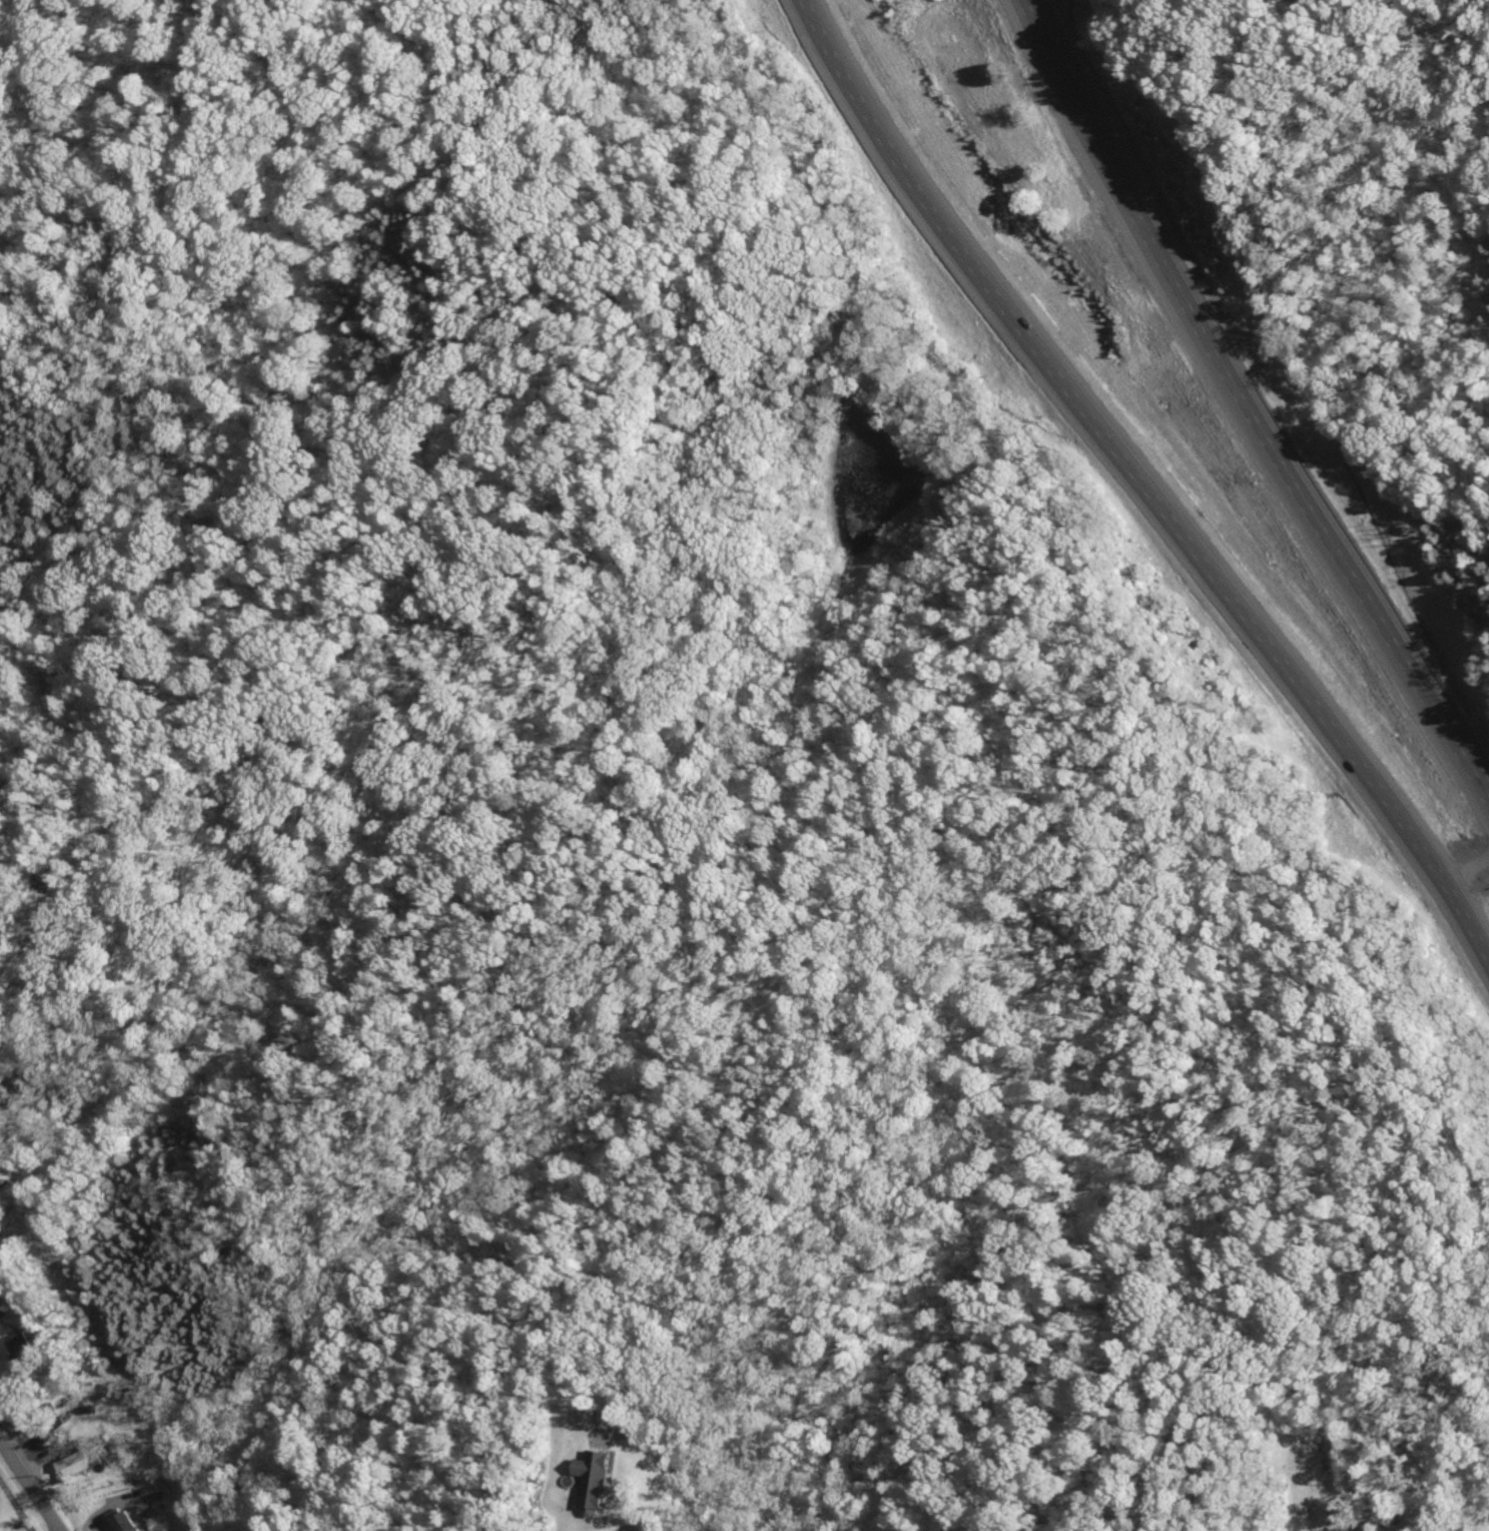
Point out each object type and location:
road: (1251, 396)
road: (1141, 487)
road: (1465, 875)
building: (0, 1299)
building: (20, 1347)
building: (1336, 1437)
building: (78, 1462)
road: (678, 1471)
building: (598, 1481)
road: (28, 1486)
building: (128, 1521)

